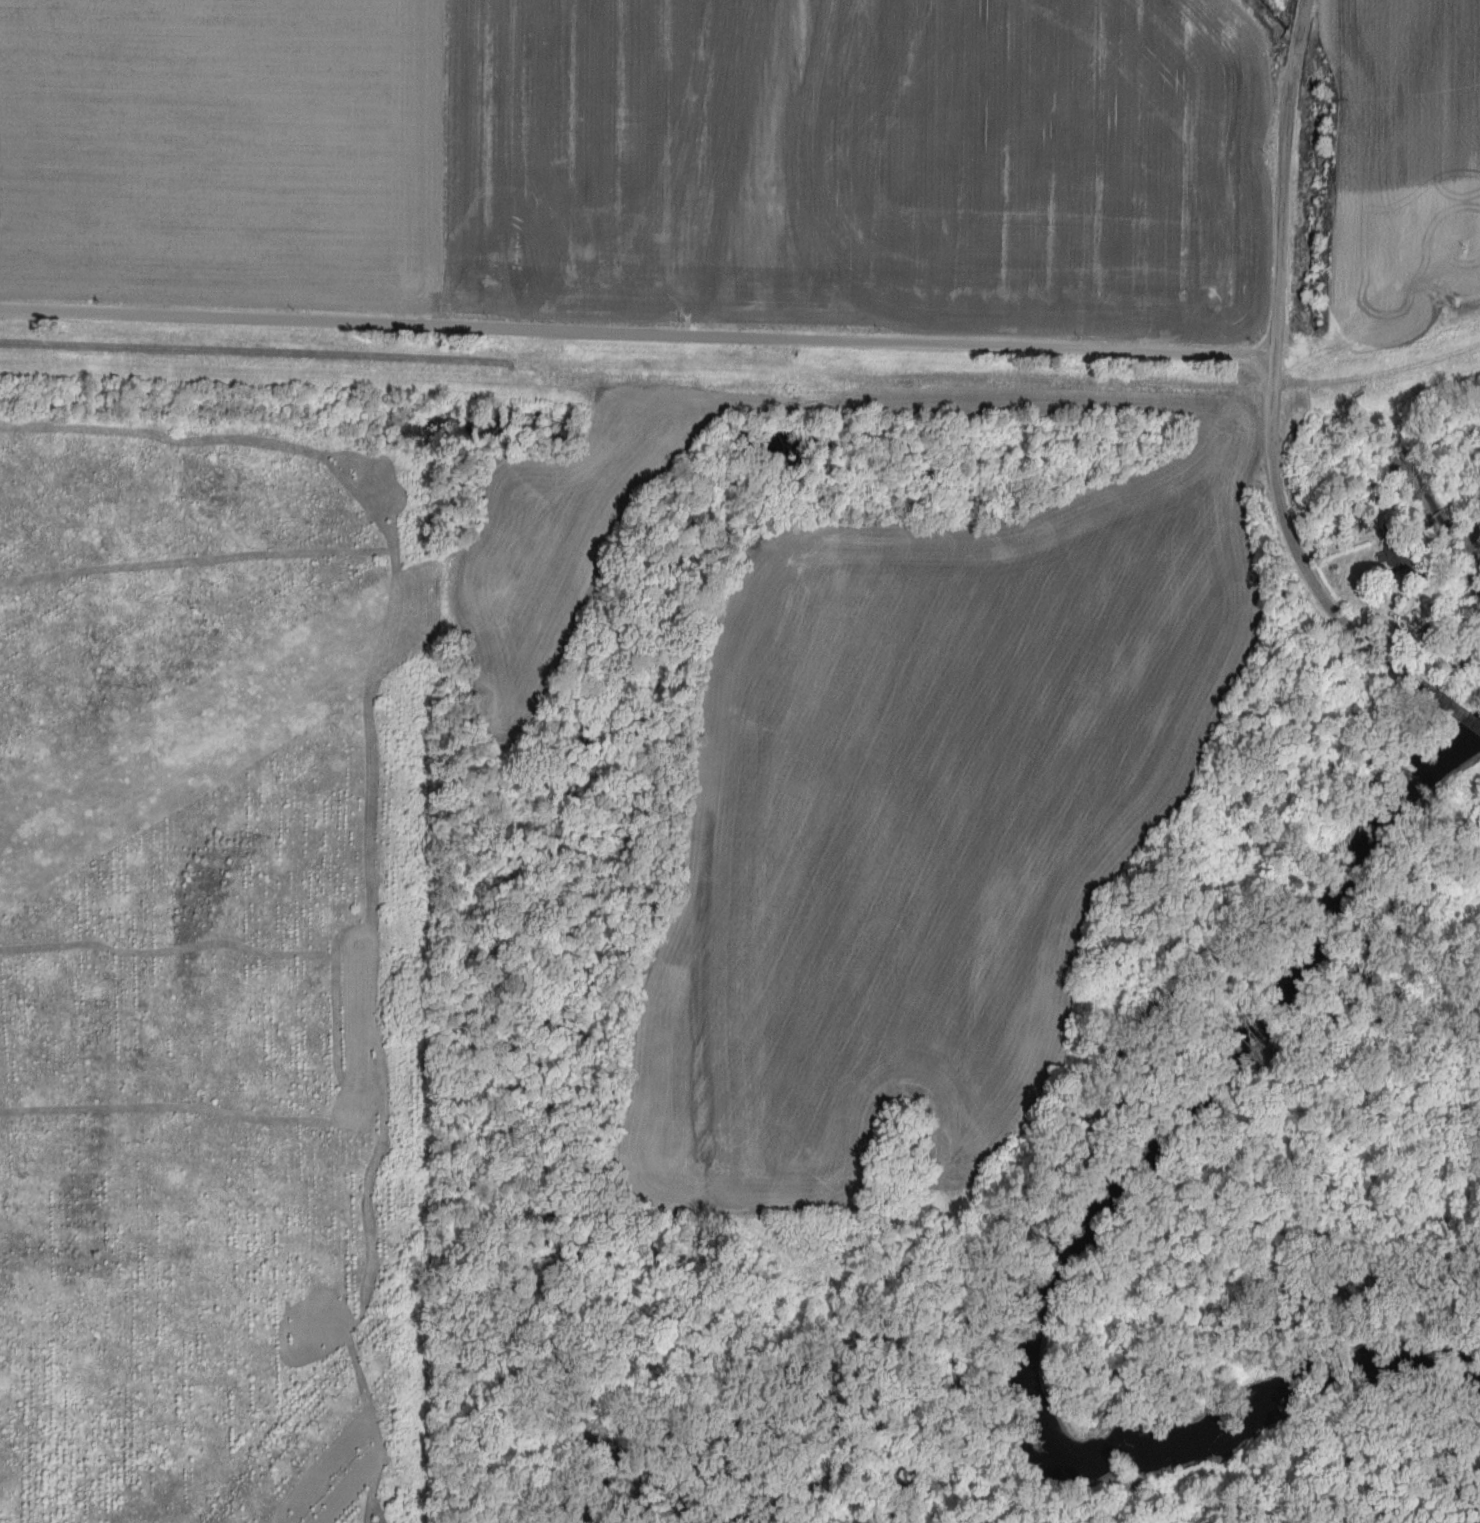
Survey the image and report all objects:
road: (1282, 180)
road: (636, 335)
building: (1394, 556)
road: (1299, 558)
road: (1460, 715)
river: (1073, 1242)

